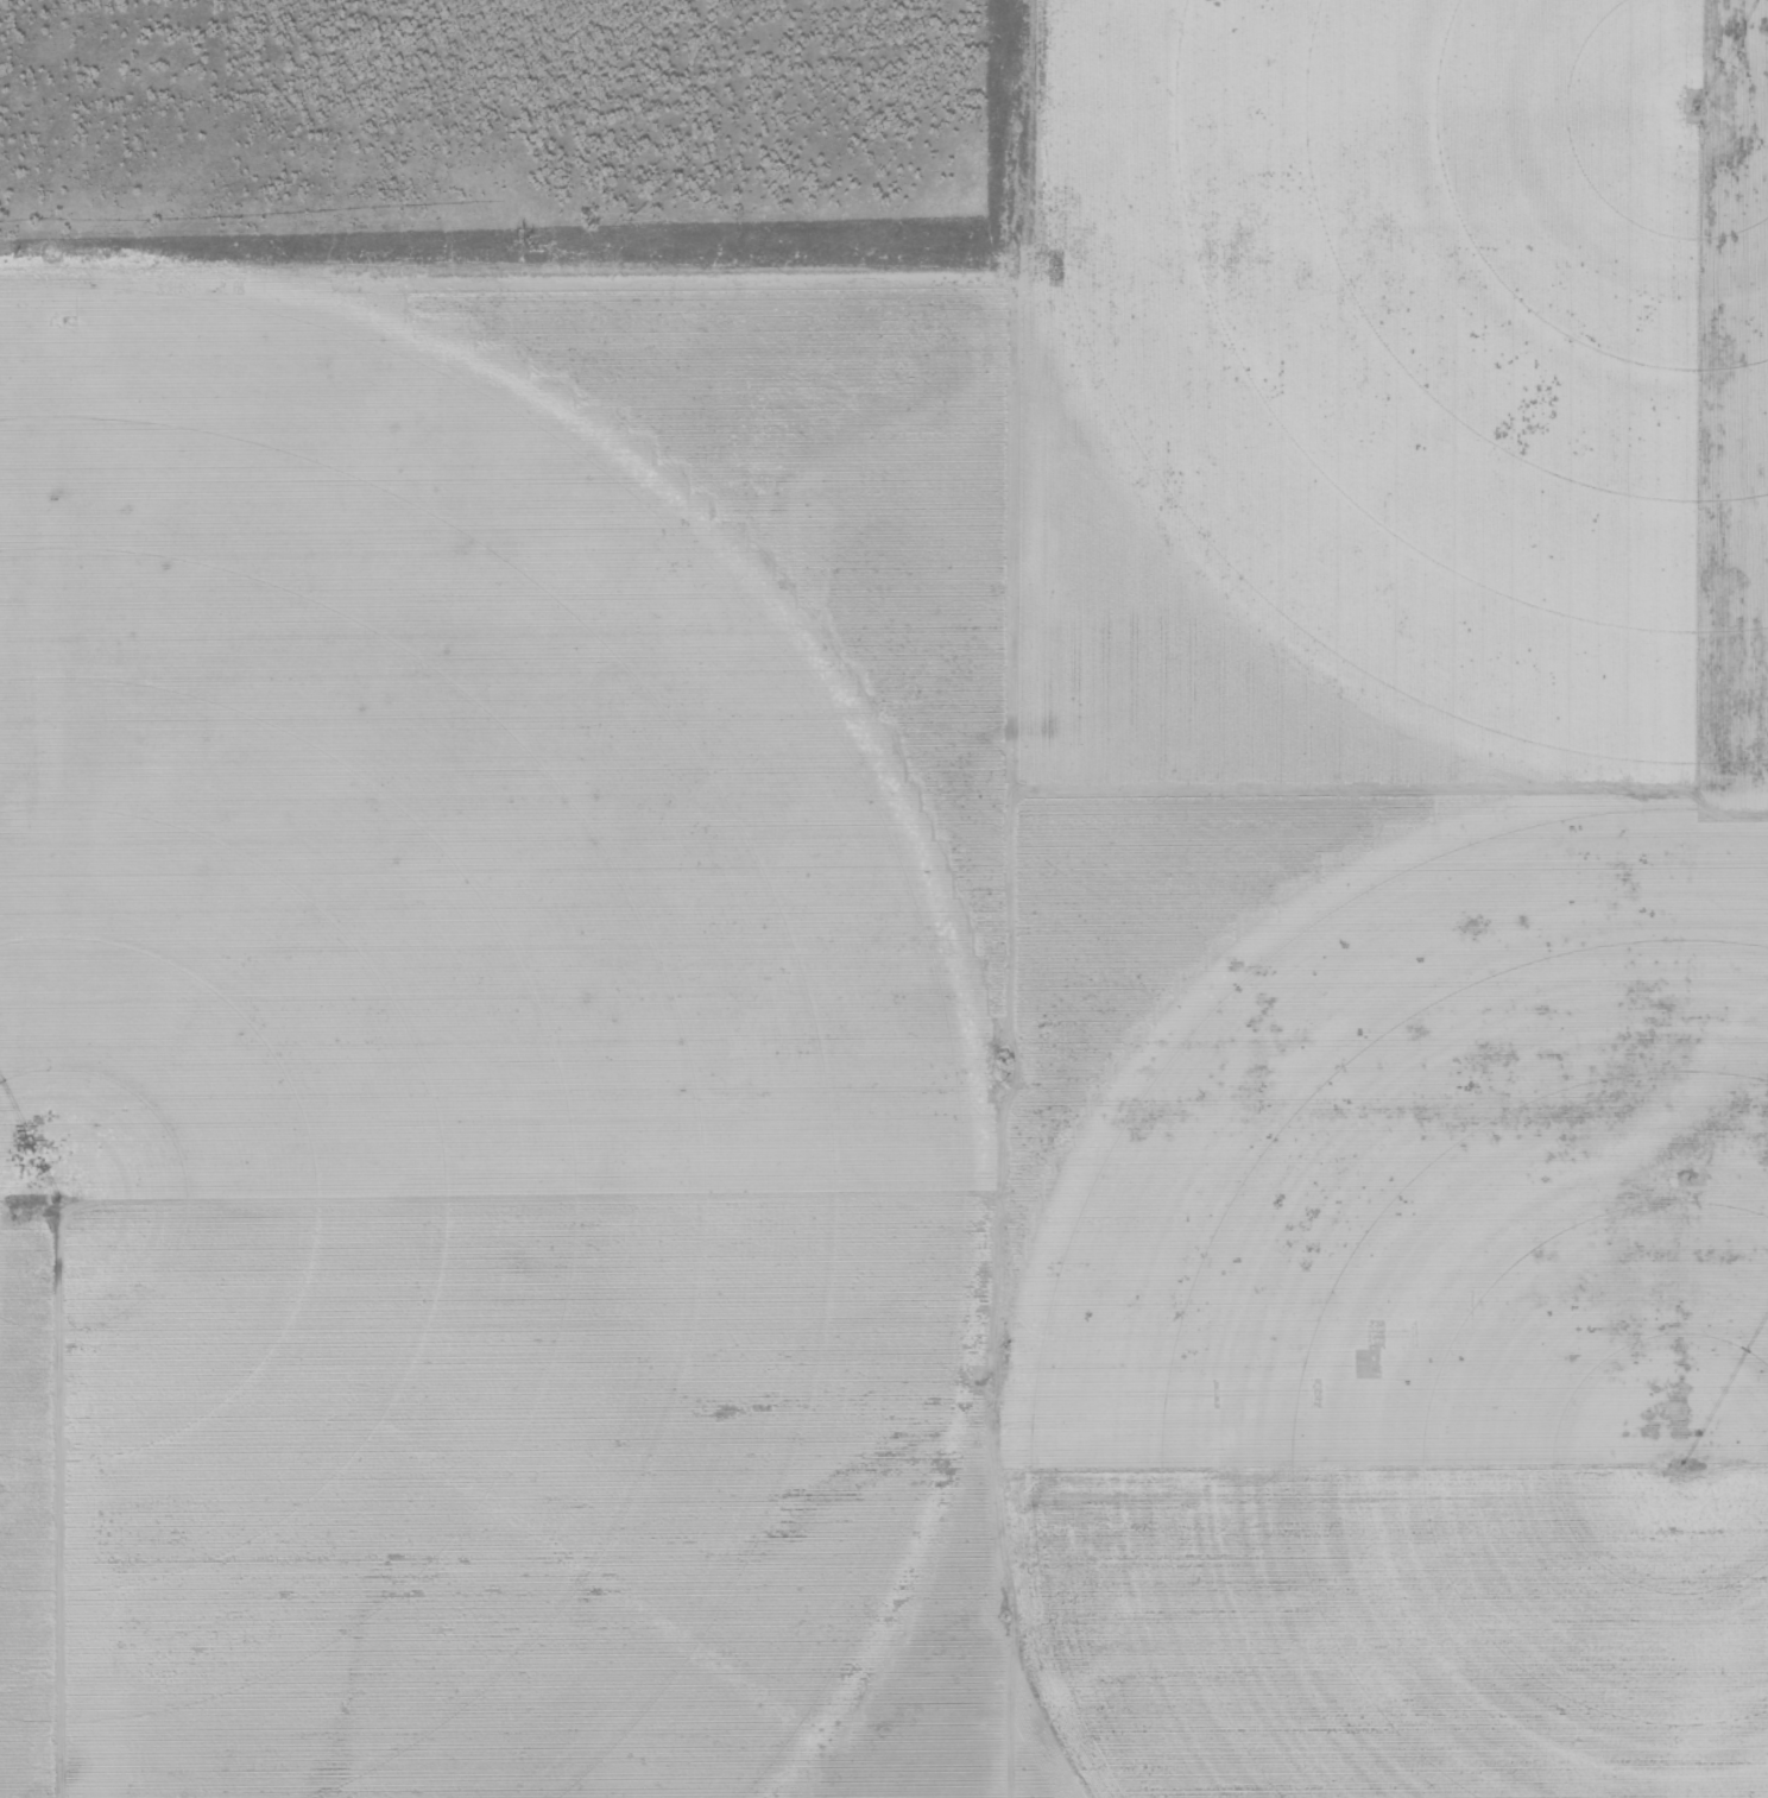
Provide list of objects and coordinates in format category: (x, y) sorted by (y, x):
road: (24, 819)
road: (1086, 1185)

